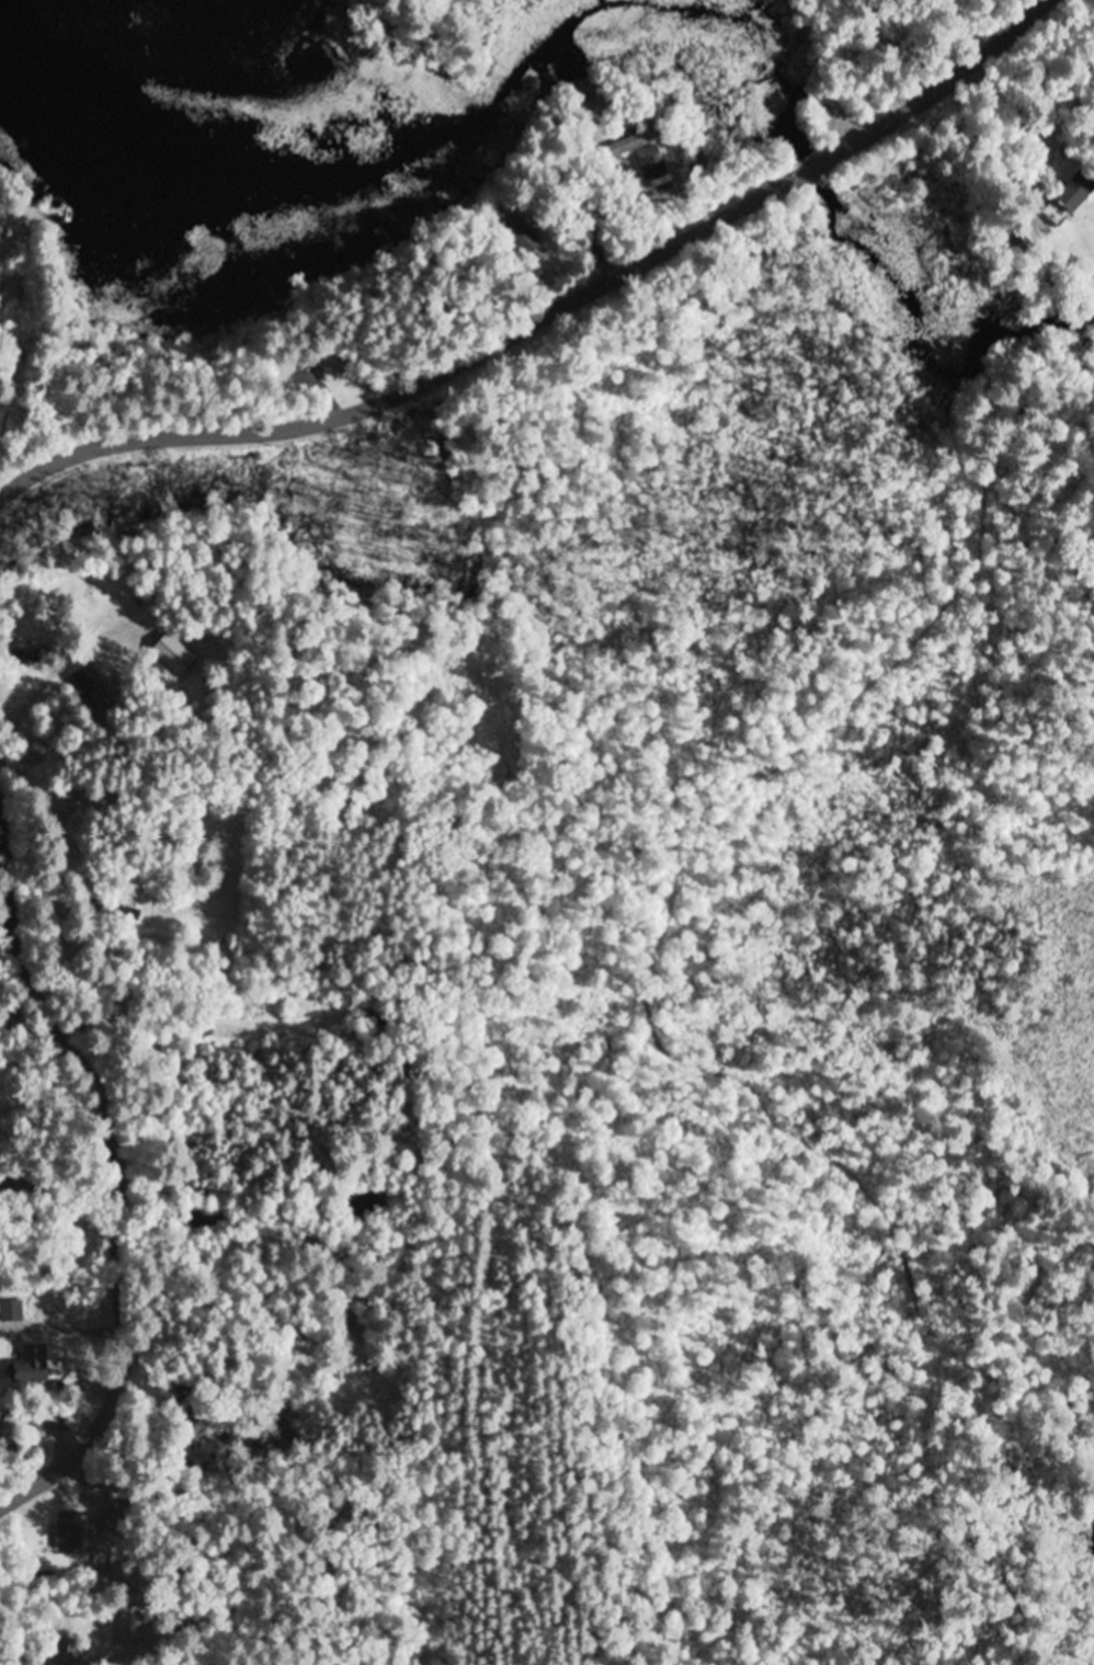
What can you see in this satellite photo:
building: (638, 151)
building: (1069, 201)
building: (522, 238)
road: (552, 318)
building: (333, 368)
building: (24, 657)
building: (84, 688)
building: (125, 915)
road: (117, 1181)
building: (30, 1372)
building: (84, 1395)
building: (55, 1419)
building: (5, 1429)
building: (68, 1531)
road: (106, 1559)
building: (124, 1629)

